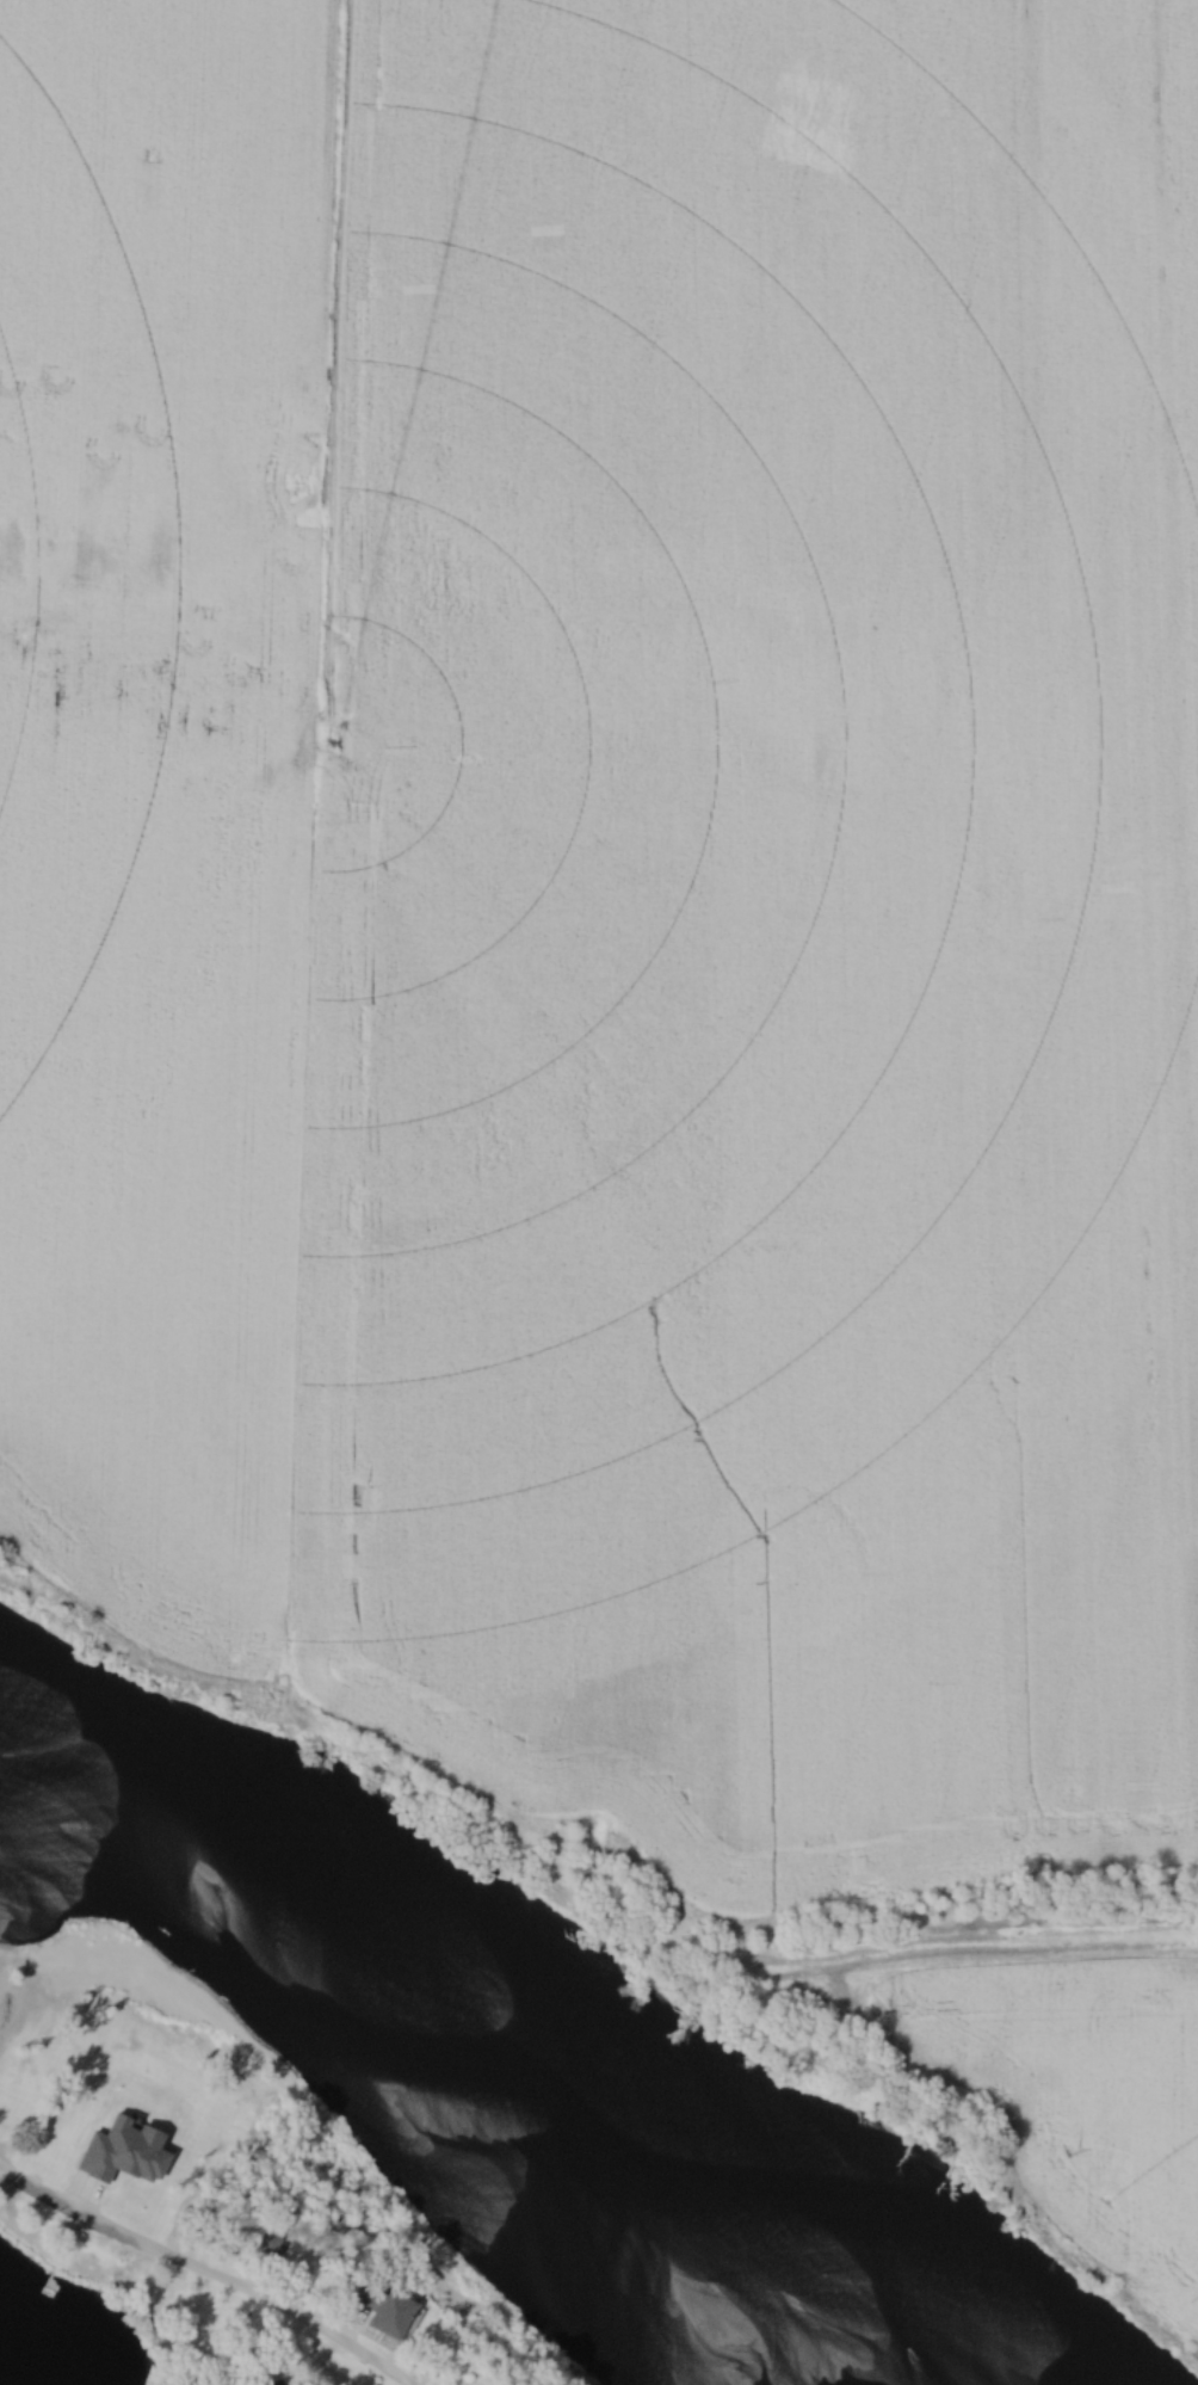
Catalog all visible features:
river: (520, 2022)
building: (272, 2245)
road: (204, 2274)
building: (381, 2311)
building: (273, 2384)

